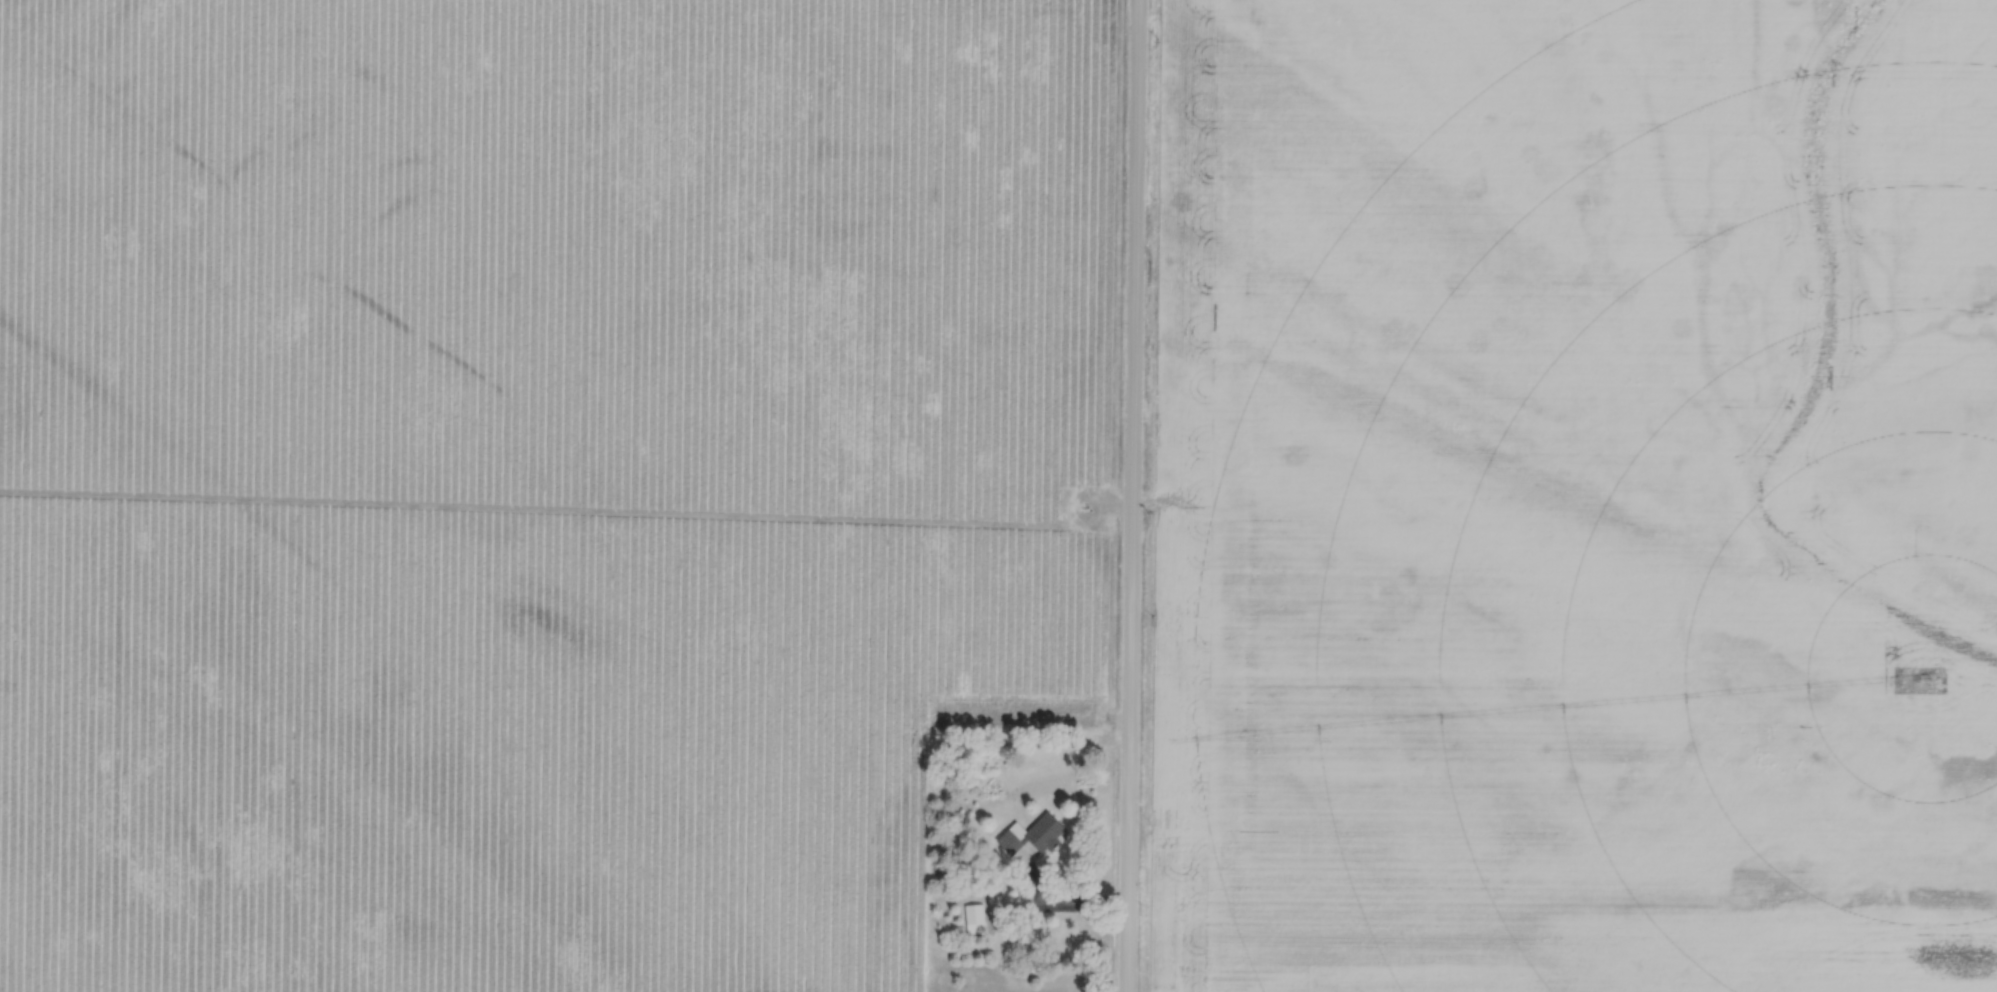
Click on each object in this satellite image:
road: (1132, 496)
building: (1033, 833)
building: (975, 915)

